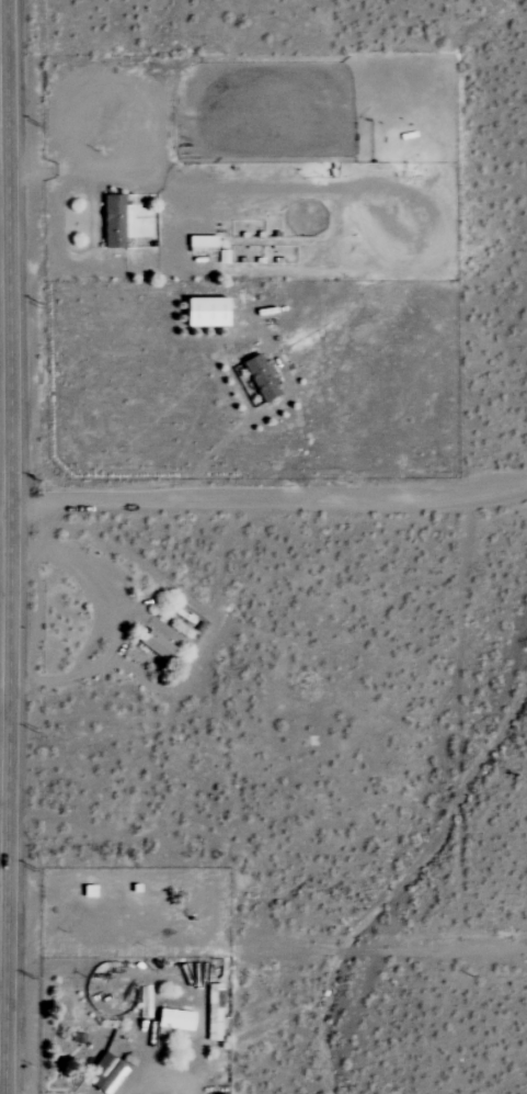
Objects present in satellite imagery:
road: (3, 47)
building: (112, 221)
building: (203, 312)
building: (257, 377)
road: (14, 448)
road: (210, 451)
road: (271, 494)
road: (8, 499)
road: (108, 627)
road: (87, 645)
building: (154, 645)
road: (1, 816)
road: (263, 949)
building: (173, 1024)
road: (0, 1073)
building: (103, 1074)
road: (165, 1086)

